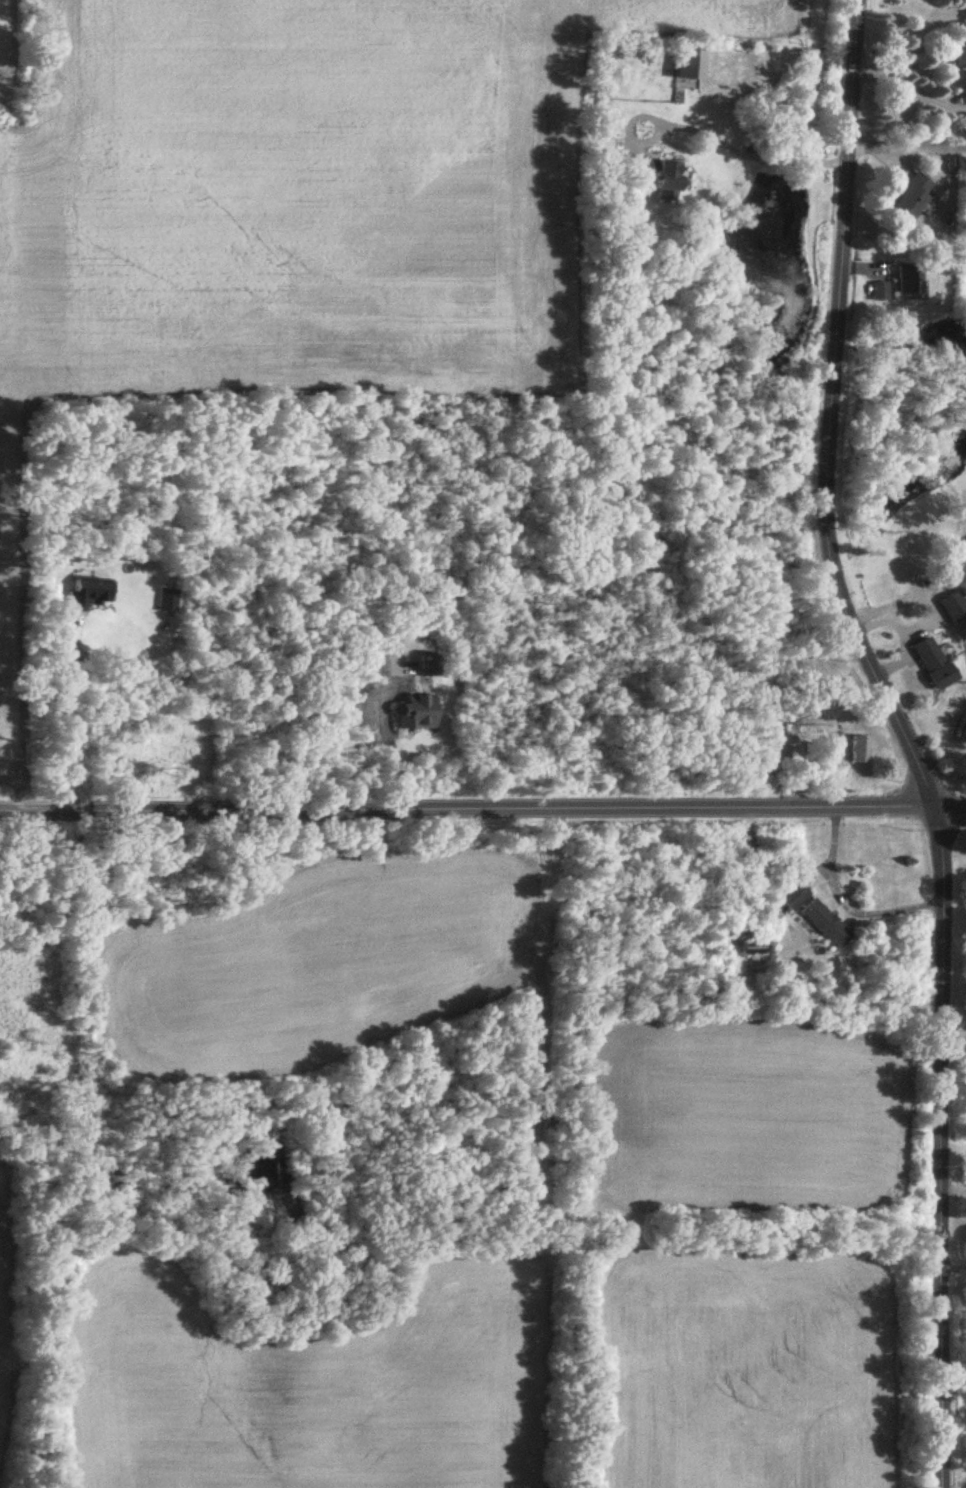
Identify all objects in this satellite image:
building: (689, 67)
building: (959, 72)
road: (912, 90)
road: (909, 150)
road: (753, 151)
building: (657, 176)
building: (913, 201)
building: (910, 280)
building: (880, 292)
building: (89, 593)
building: (169, 601)
building: (431, 665)
building: (934, 665)
road: (65, 714)
building: (418, 714)
road: (388, 731)
road: (904, 738)
building: (860, 750)
road: (951, 806)
road: (467, 807)
building: (793, 897)
road: (844, 901)
building: (826, 925)
building: (752, 949)
road: (953, 1024)
road: (953, 1146)

